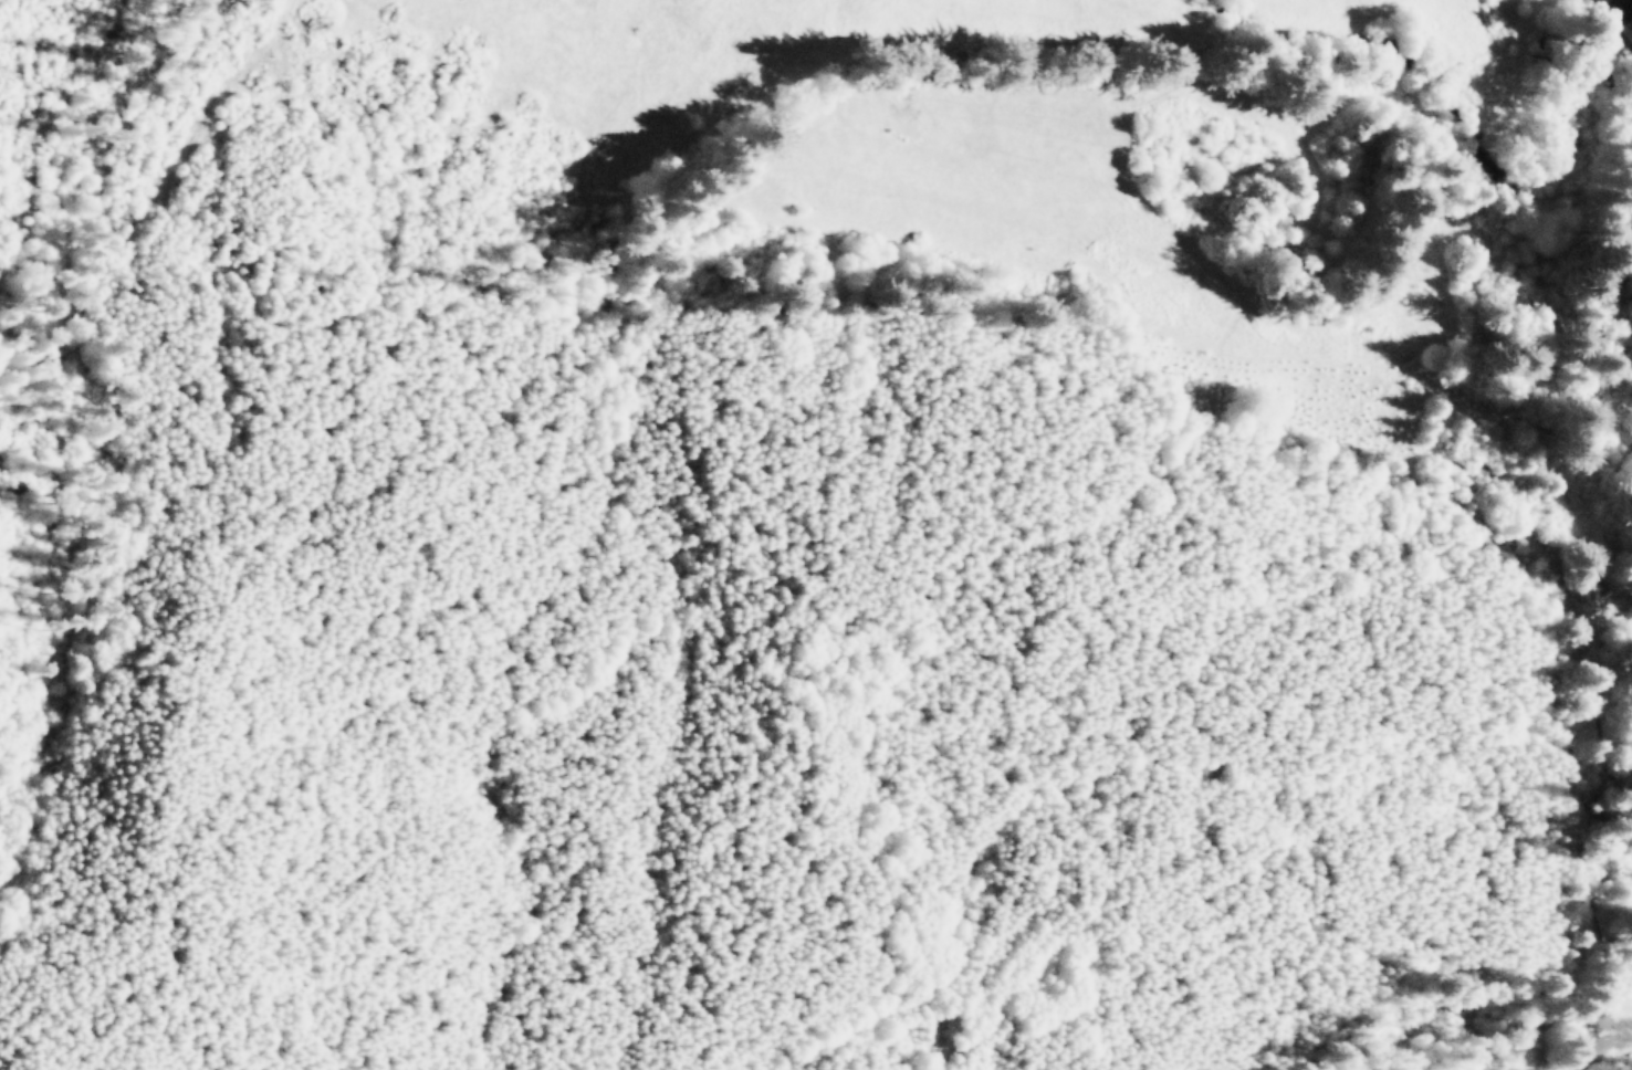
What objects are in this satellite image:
road: (1213, 956)
road: (199, 1063)

